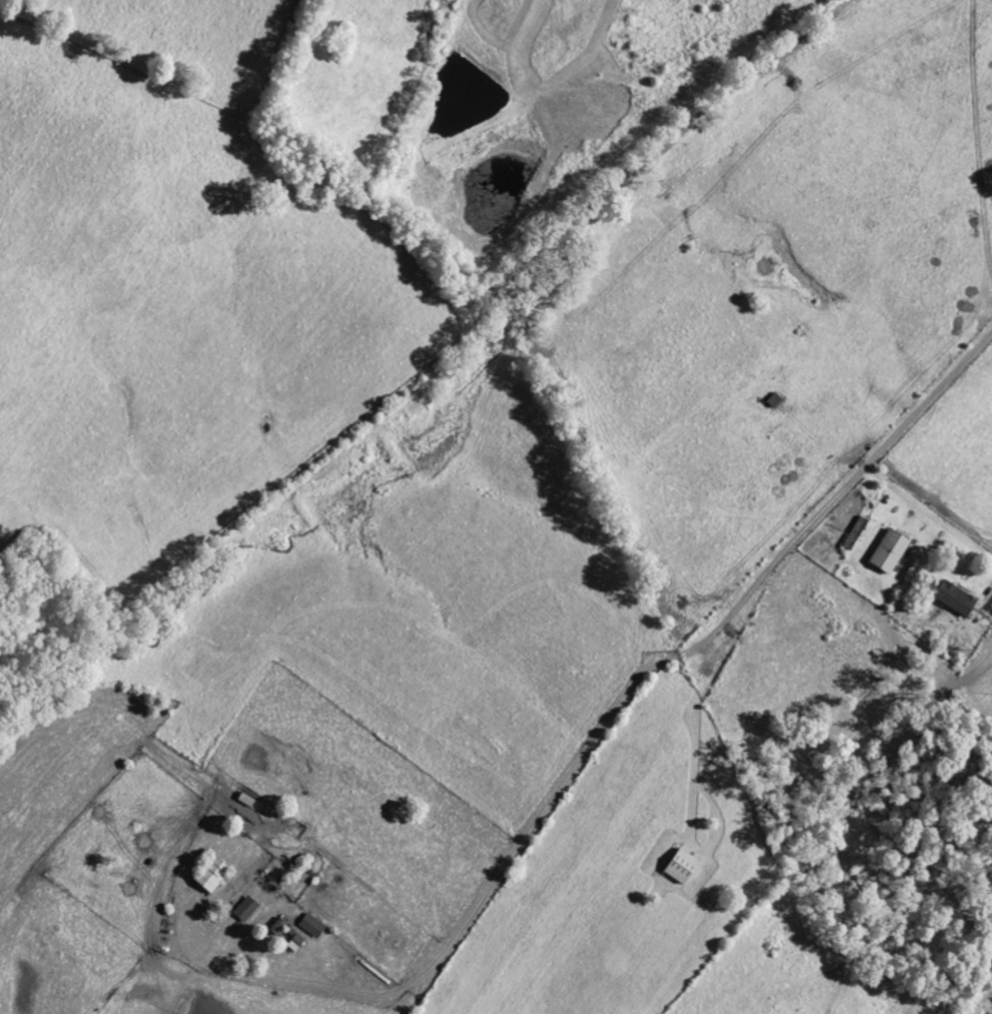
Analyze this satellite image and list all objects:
building: (853, 534)
building: (886, 552)
building: (951, 598)
road: (612, 713)
building: (207, 876)
building: (244, 910)
building: (310, 926)
building: (274, 927)
building: (294, 943)

